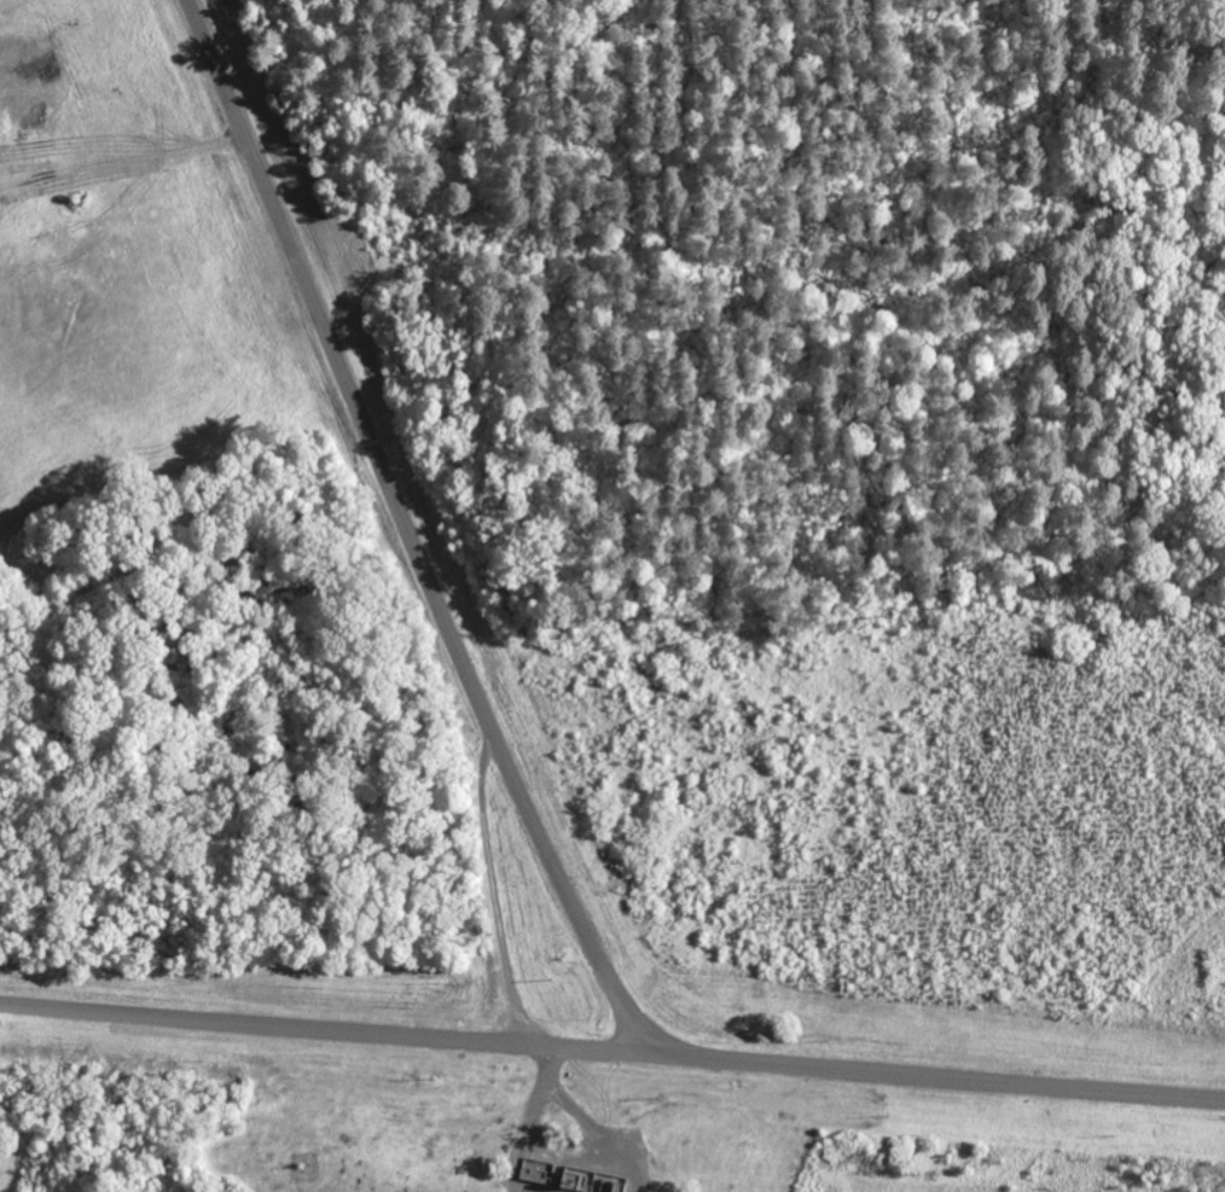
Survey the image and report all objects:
road: (414, 533)
road: (612, 1053)

